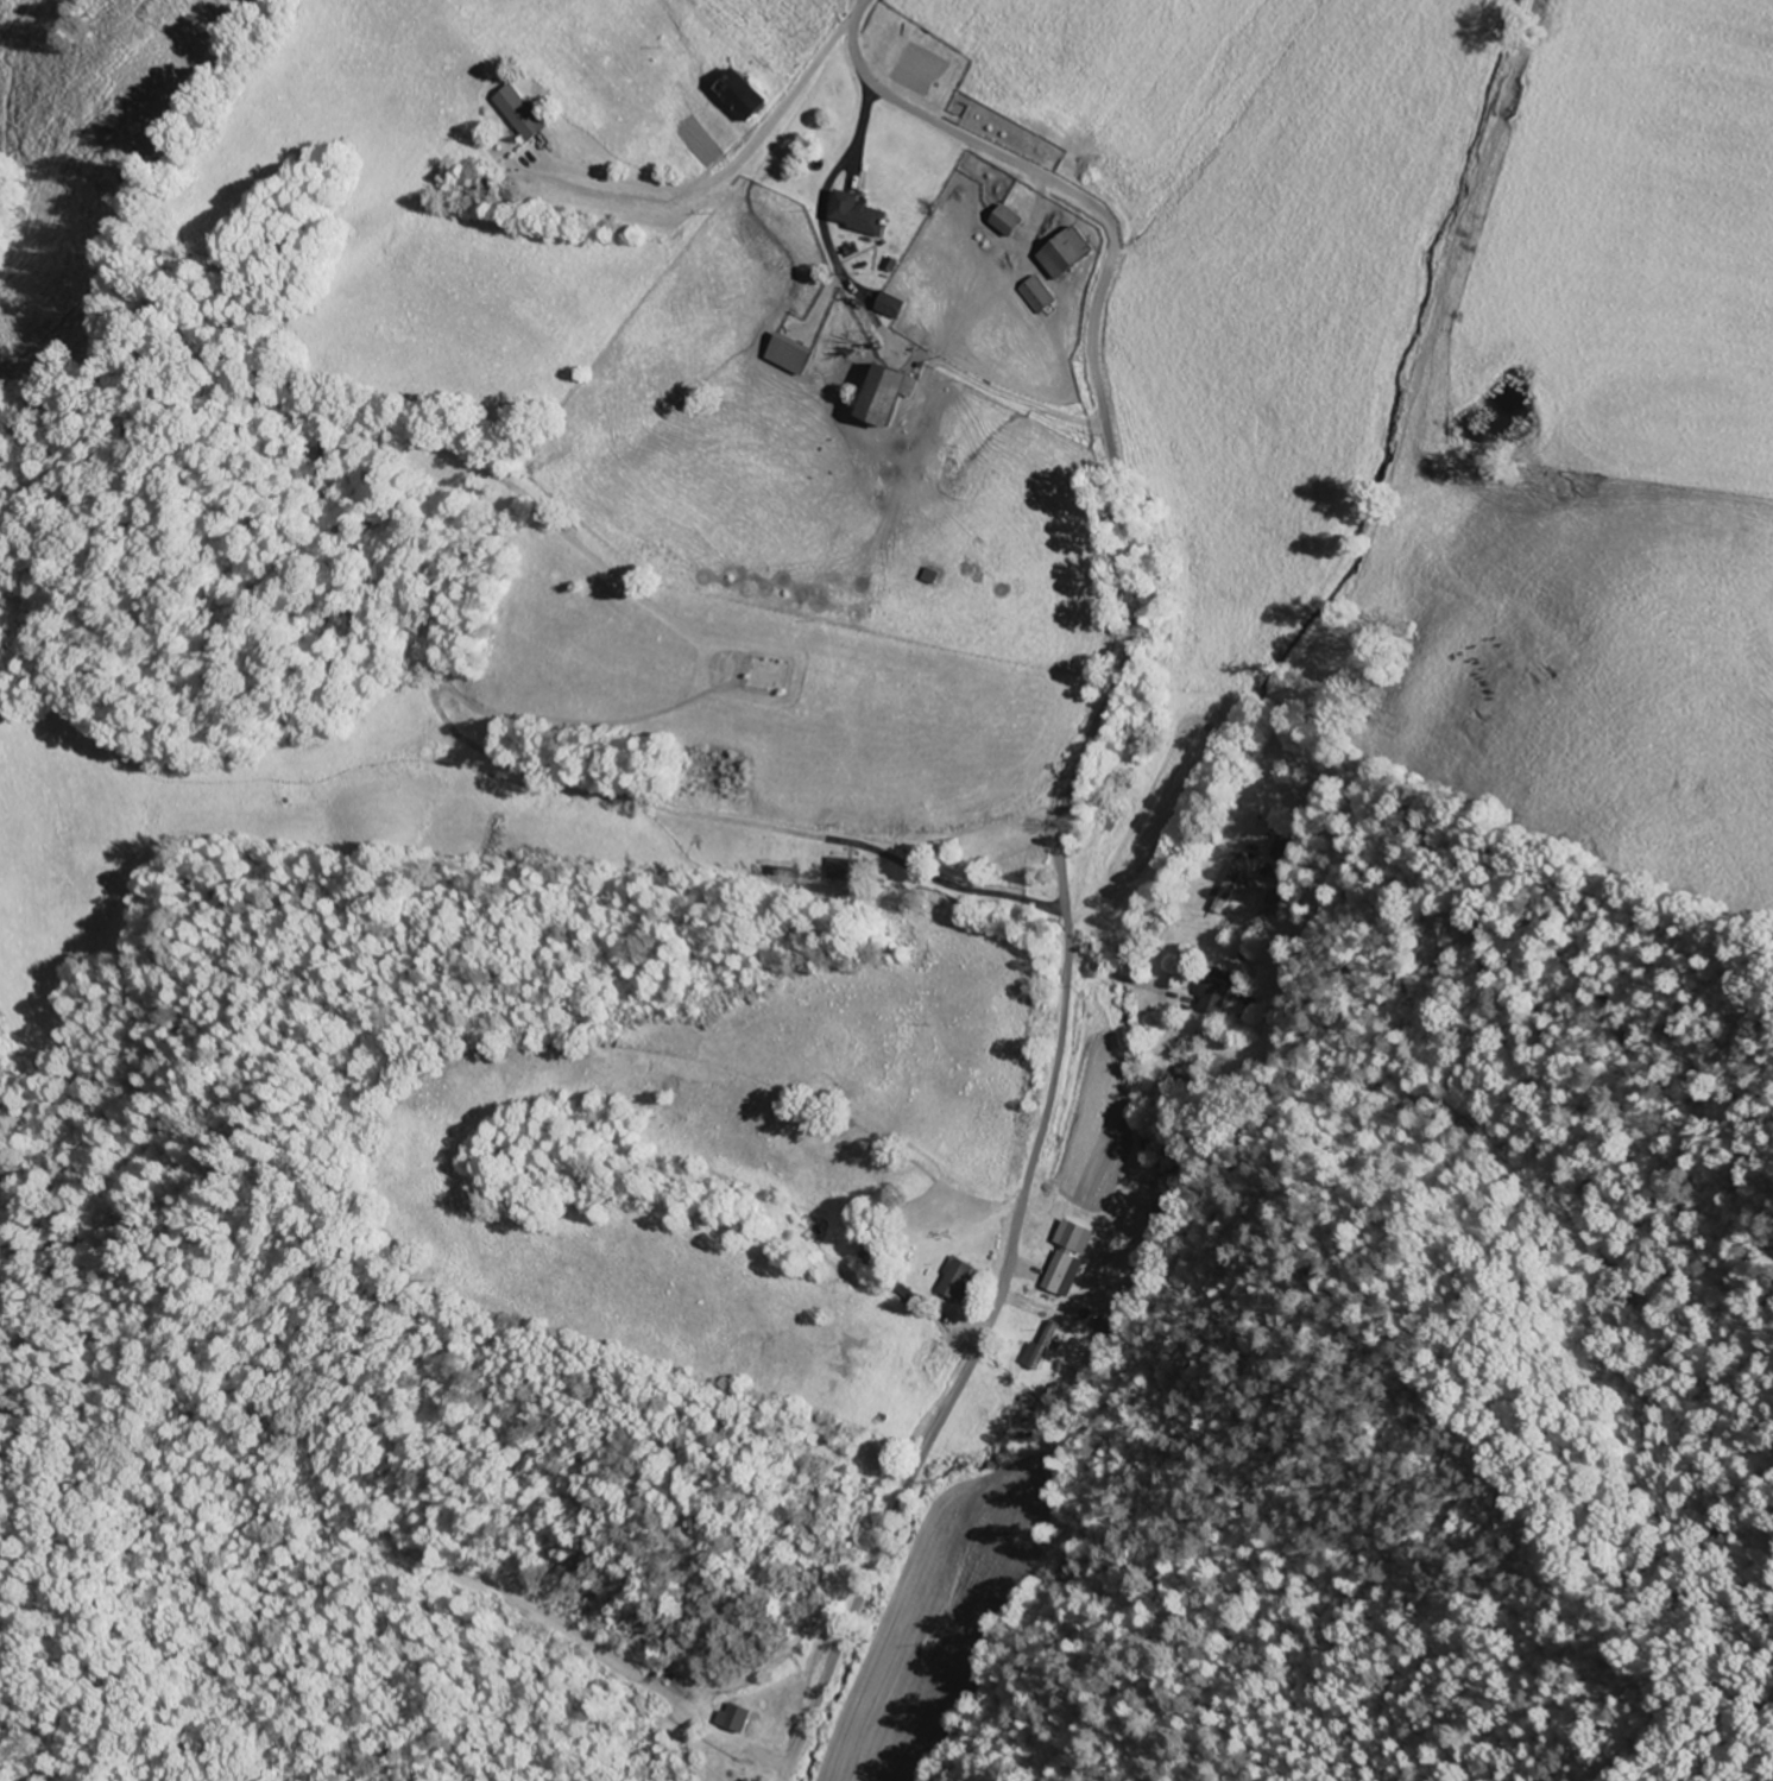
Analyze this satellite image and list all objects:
building: (523, 114)
building: (860, 215)
building: (1008, 222)
building: (1067, 254)
building: (1036, 297)
building: (894, 307)
building: (790, 355)
building: (886, 397)
road: (1059, 832)
building: (846, 871)
building: (1225, 891)
building: (1217, 992)
building: (1068, 1259)
building: (959, 1281)
building: (1040, 1351)
building: (737, 1719)
building: (747, 1780)

